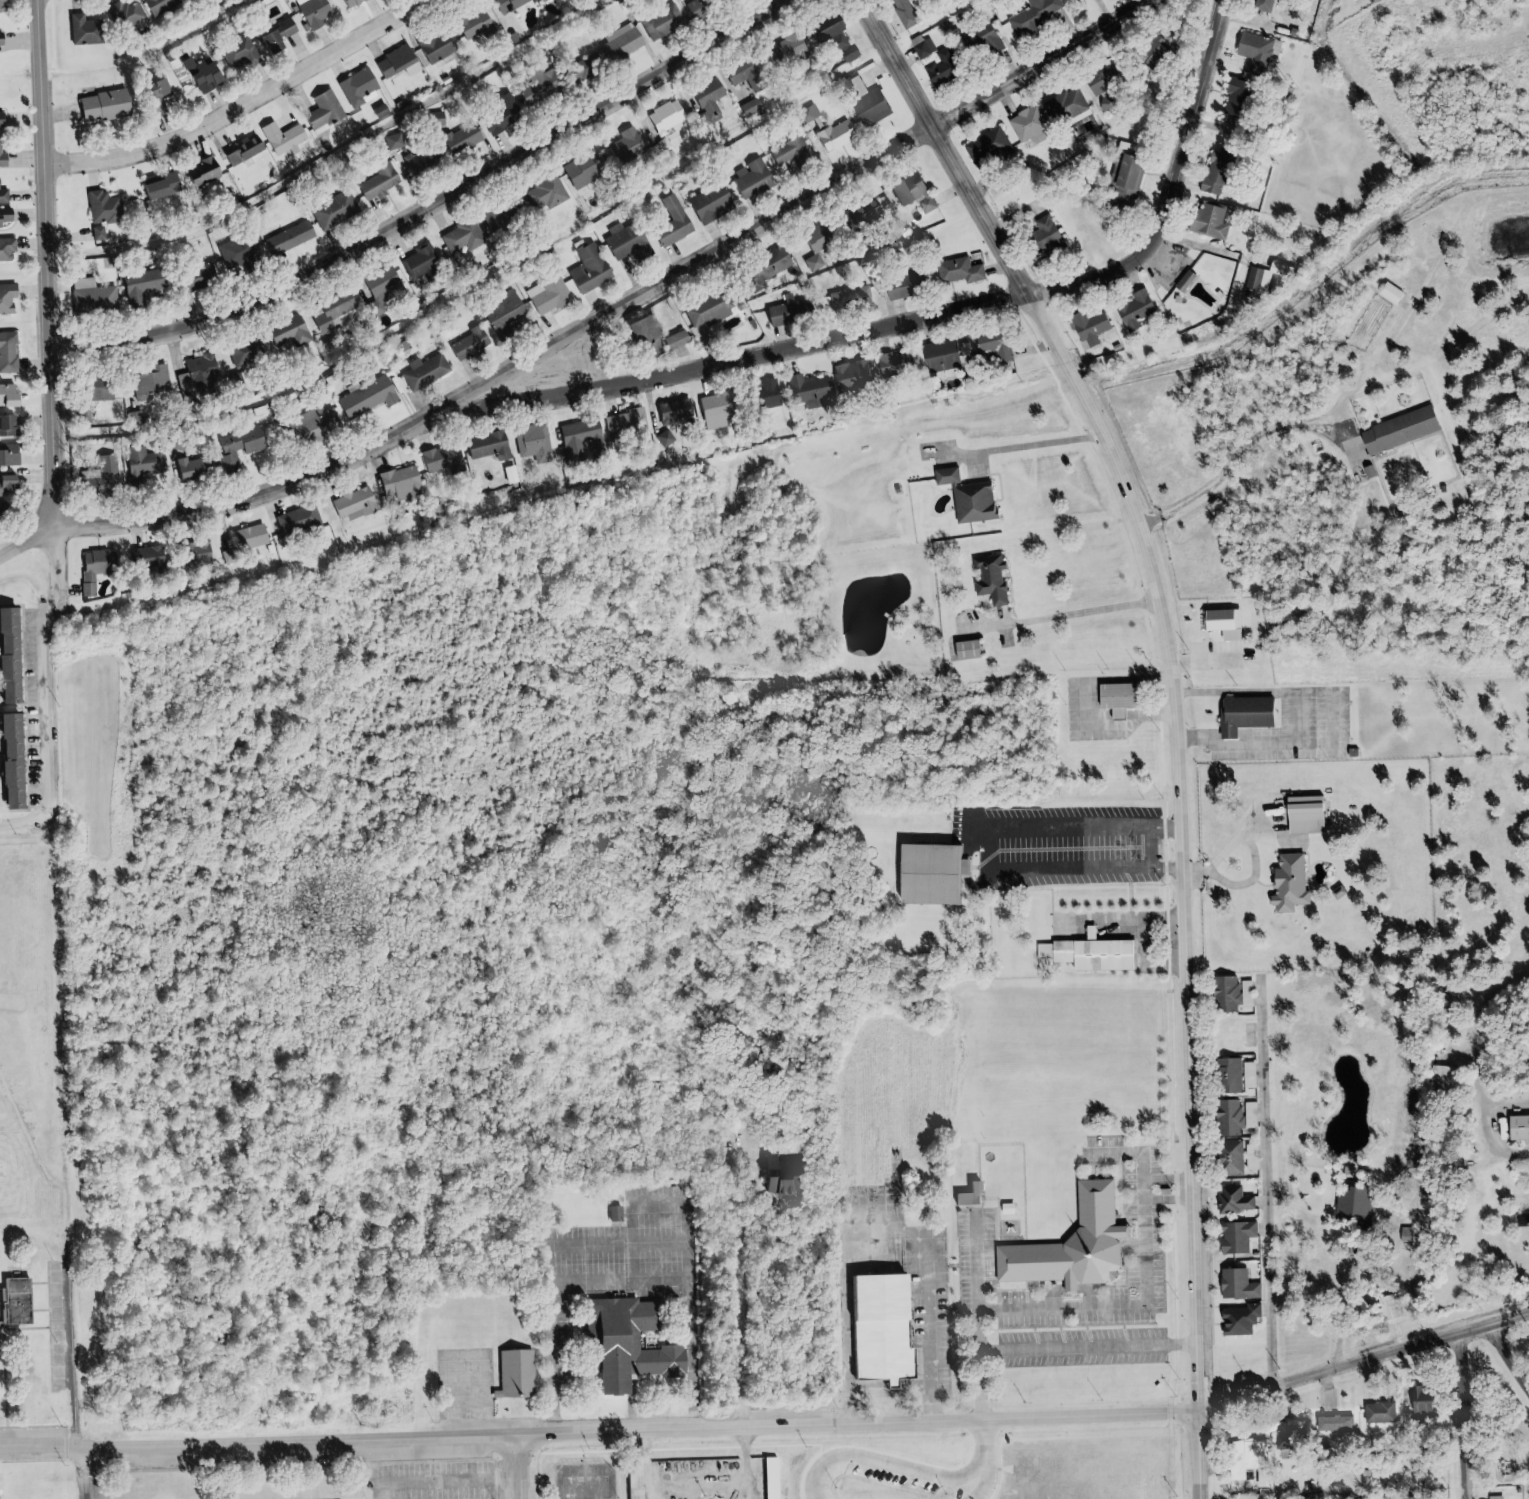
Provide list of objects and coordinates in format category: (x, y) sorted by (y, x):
building: (538, 0)
building: (346, 3)
building: (501, 4)
building: (1259, 5)
building: (5, 6)
building: (162, 6)
building: (690, 8)
building: (309, 11)
building: (901, 12)
building: (126, 14)
building: (1031, 15)
building: (658, 21)
building: (470, 24)
building: (819, 26)
building: (280, 27)
building: (94, 28)
building: (4, 38)
building: (266, 40)
building: (975, 40)
building: (617, 41)
building: (431, 46)
building: (839, 46)
building: (778, 49)
building: (1149, 50)
building: (1254, 50)
building: (235, 53)
building: (933, 61)
building: (393, 62)
building: (736, 70)
building: (572, 71)
building: (196, 74)
building: (1097, 79)
building: (533, 84)
building: (354, 87)
building: (152, 92)
building: (1232, 96)
building: (704, 100)
building: (864, 101)
building: (103, 104)
building: (746, 106)
building: (1064, 106)
road: (249, 107)
building: (321, 110)
building: (804, 112)
building: (498, 113)
building: (663, 116)
building: (432, 117)
building: (4, 119)
building: (1024, 123)
building: (831, 134)
building: (279, 137)
building: (457, 137)
building: (389, 140)
building: (622, 146)
road: (951, 146)
building: (986, 146)
building: (786, 150)
building: (238, 151)
building: (4, 155)
building: (415, 157)
building: (576, 169)
building: (198, 170)
building: (1211, 174)
building: (1121, 177)
building: (747, 178)
building: (374, 180)
building: (154, 186)
building: (907, 190)
building: (541, 193)
building: (6, 197)
building: (705, 202)
building: (100, 207)
road: (437, 207)
building: (330, 208)
building: (855, 215)
building: (7, 217)
building: (668, 221)
building: (1205, 221)
building: (94, 232)
building: (1042, 234)
building: (459, 235)
building: (285, 237)
building: (622, 241)
building: (815, 242)
building: (9, 249)
building: (235, 250)
building: (417, 260)
road: (53, 264)
building: (585, 268)
building: (759, 268)
building: (956, 270)
building: (191, 276)
building: (1262, 276)
building: (1181, 280)
building: (84, 282)
building: (136, 285)
building: (899, 285)
building: (379, 287)
building: (1388, 293)
building: (545, 294)
building: (10, 298)
building: (846, 298)
building: (95, 299)
road: (630, 307)
building: (706, 308)
building: (326, 309)
building: (1132, 309)
building: (783, 310)
building: (500, 311)
road: (954, 311)
building: (1086, 326)
building: (284, 331)
building: (641, 333)
building: (671, 339)
building: (465, 342)
building: (990, 348)
building: (242, 350)
building: (10, 353)
building: (937, 356)
building: (894, 361)
building: (421, 370)
building: (193, 372)
building: (848, 374)
building: (147, 380)
building: (803, 389)
building: (761, 394)
building: (19, 395)
building: (362, 397)
building: (708, 411)
building: (671, 412)
building: (132, 417)
building: (622, 420)
building: (308, 422)
building: (12, 426)
building: (1395, 430)
building: (577, 438)
building: (529, 442)
building: (484, 445)
building: (12, 454)
building: (438, 457)
building: (139, 461)
building: (186, 467)
building: (100, 472)
building: (943, 475)
building: (397, 483)
building: (11, 485)
building: (970, 502)
building: (350, 504)
building: (3, 512)
building: (295, 520)
building: (246, 536)
road: (32, 545)
building: (189, 553)
building: (146, 556)
building: (98, 560)
building: (987, 577)
building: (1218, 623)
building: (963, 649)
building: (16, 660)
road: (55, 673)
building: (1113, 698)
building: (1237, 712)
road: (1327, 719)
building: (20, 763)
building: (1301, 814)
road: (23, 822)
road: (1033, 824)
road: (1078, 847)
building: (944, 868)
road: (1192, 879)
building: (1285, 883)
road: (1142, 903)
road: (1154, 924)
building: (1086, 932)
building: (1104, 953)
building: (1243, 993)
building: (1222, 994)
road: (1487, 1068)
building: (1226, 1075)
building: (1246, 1075)
building: (1438, 1076)
building: (1232, 1116)
building: (1516, 1127)
building: (1227, 1158)
road: (1178, 1176)
building: (777, 1177)
road: (1276, 1188)
building: (965, 1195)
building: (1231, 1199)
road: (1180, 1201)
building: (1350, 1203)
building: (611, 1213)
building: (628, 1213)
building: (1520, 1218)
road: (644, 1224)
building: (1233, 1236)
building: (1084, 1241)
road: (569, 1244)
road: (987, 1261)
road: (624, 1282)
road: (1163, 1285)
building: (1234, 1285)
road: (837, 1289)
building: (30, 1300)
road: (1354, 1313)
building: (1236, 1320)
building: (872, 1323)
road: (920, 1329)
road: (1409, 1334)
road: (82, 1345)
building: (682, 1346)
road: (1514, 1347)
road: (1099, 1348)
building: (0, 1354)
road: (1367, 1361)
road: (478, 1363)
road: (991, 1364)
building: (531, 1373)
road: (565, 1392)
building: (1417, 1400)
park: (1497, 1409)
building: (1376, 1412)
road: (1488, 1414)
road: (512, 1415)
road: (1470, 1415)
building: (1331, 1423)
road: (603, 1431)
building: (1282, 1438)
road: (980, 1451)
building: (1243, 1457)
road: (878, 1460)
road: (533, 1467)
road: (325, 1469)
park: (373, 1472)
road: (102, 1473)
park: (597, 1478)
parking lot: (446, 1479)
building: (636, 1484)
road: (969, 1490)
building: (1494, 1497)

